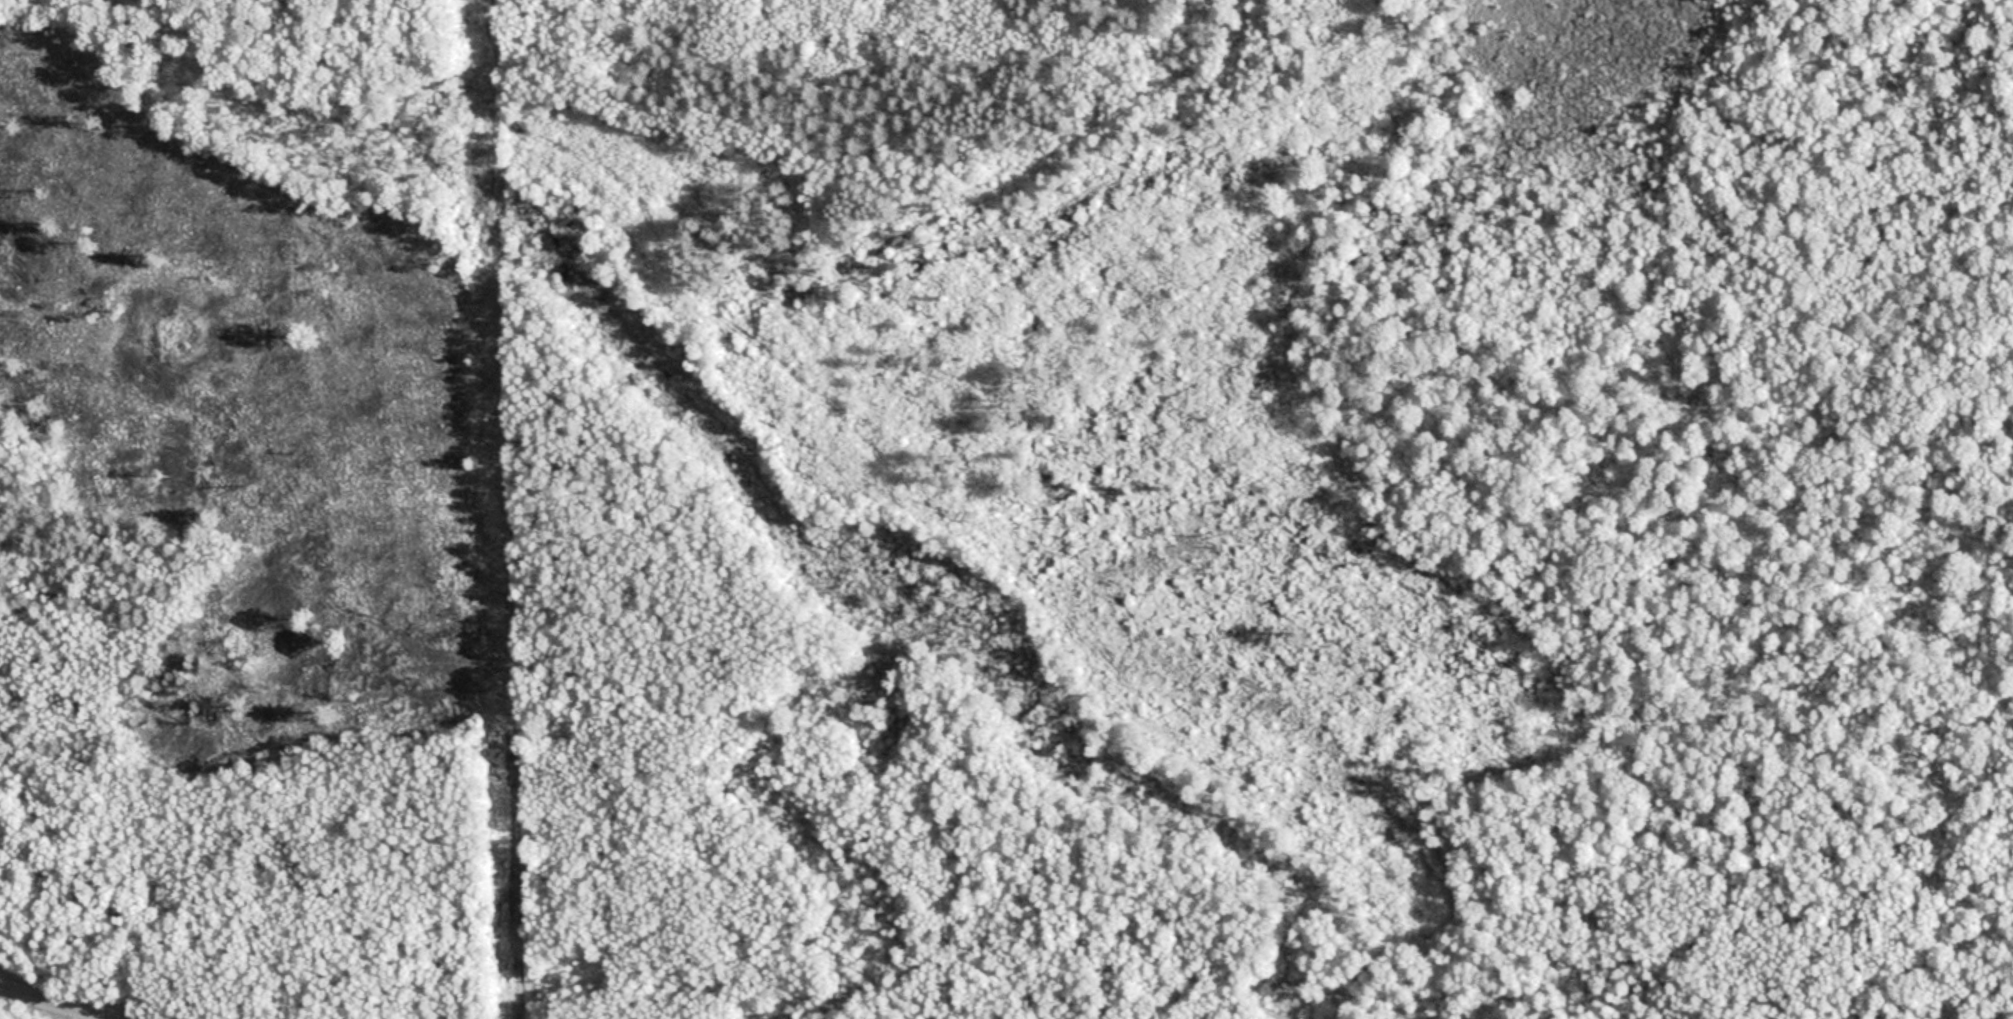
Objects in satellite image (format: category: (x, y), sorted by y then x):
road: (911, 156)
road: (508, 509)
park: (1006, 509)
road: (52, 1004)

